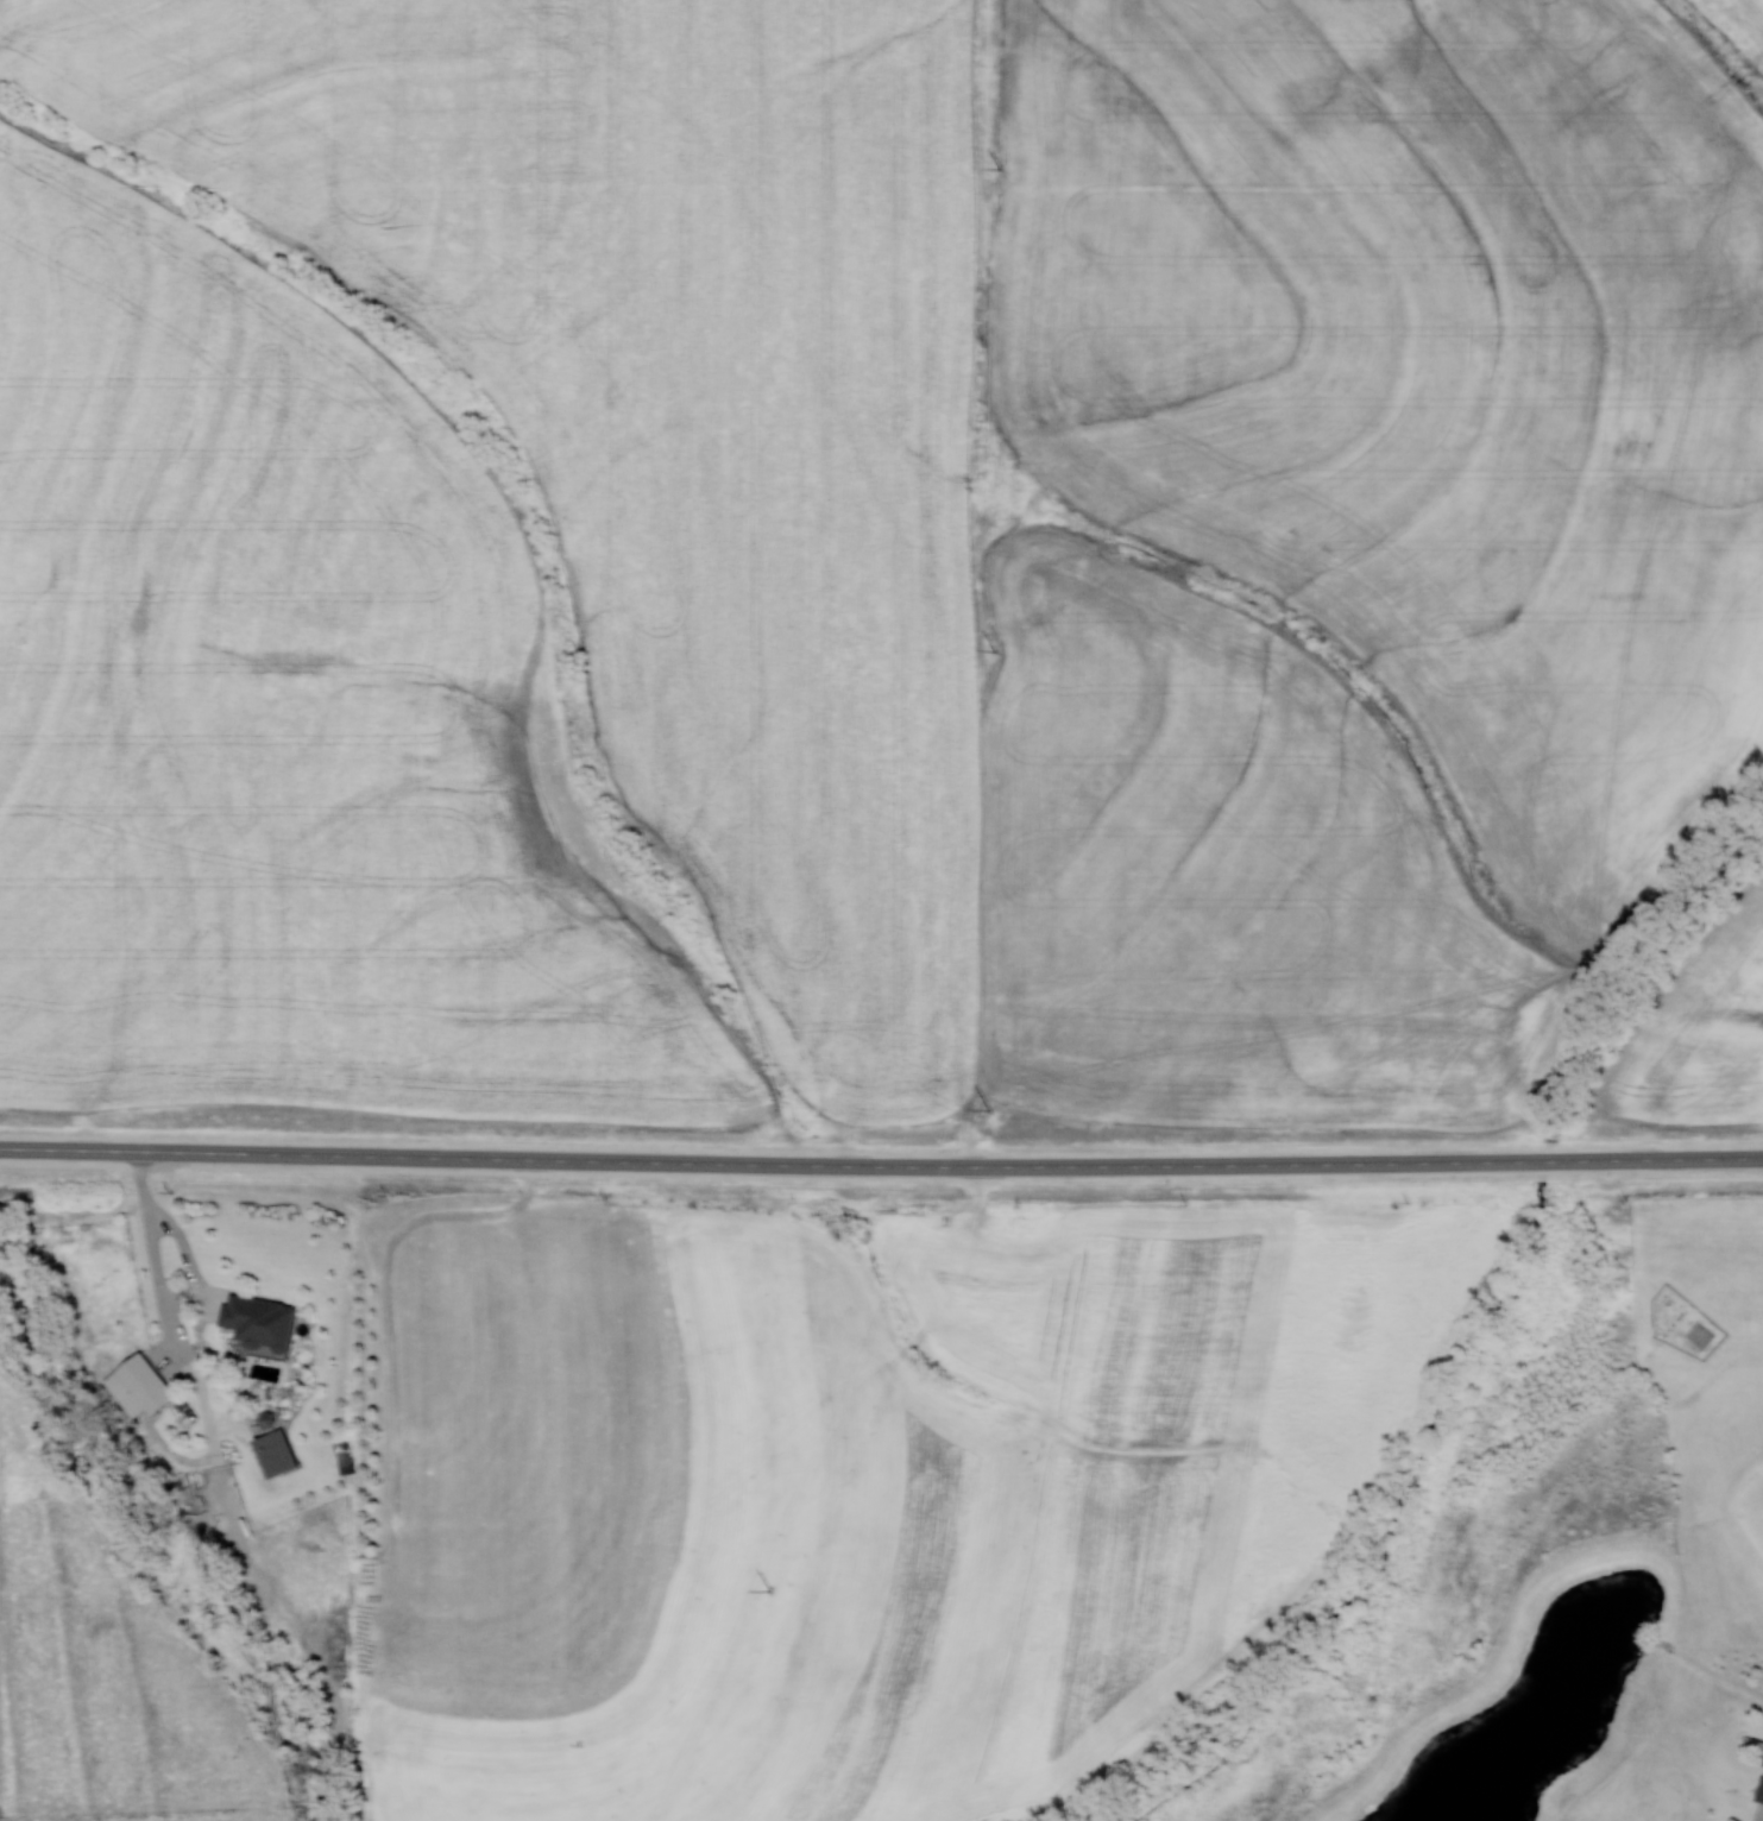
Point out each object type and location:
power tower: (999, 169)
power tower: (994, 650)
power tower: (988, 1109)
road: (187, 1152)
road: (1068, 1165)
building: (257, 1321)
building: (138, 1386)
park: (1515, 1556)
power tower: (769, 1588)
building: (1761, 1790)

